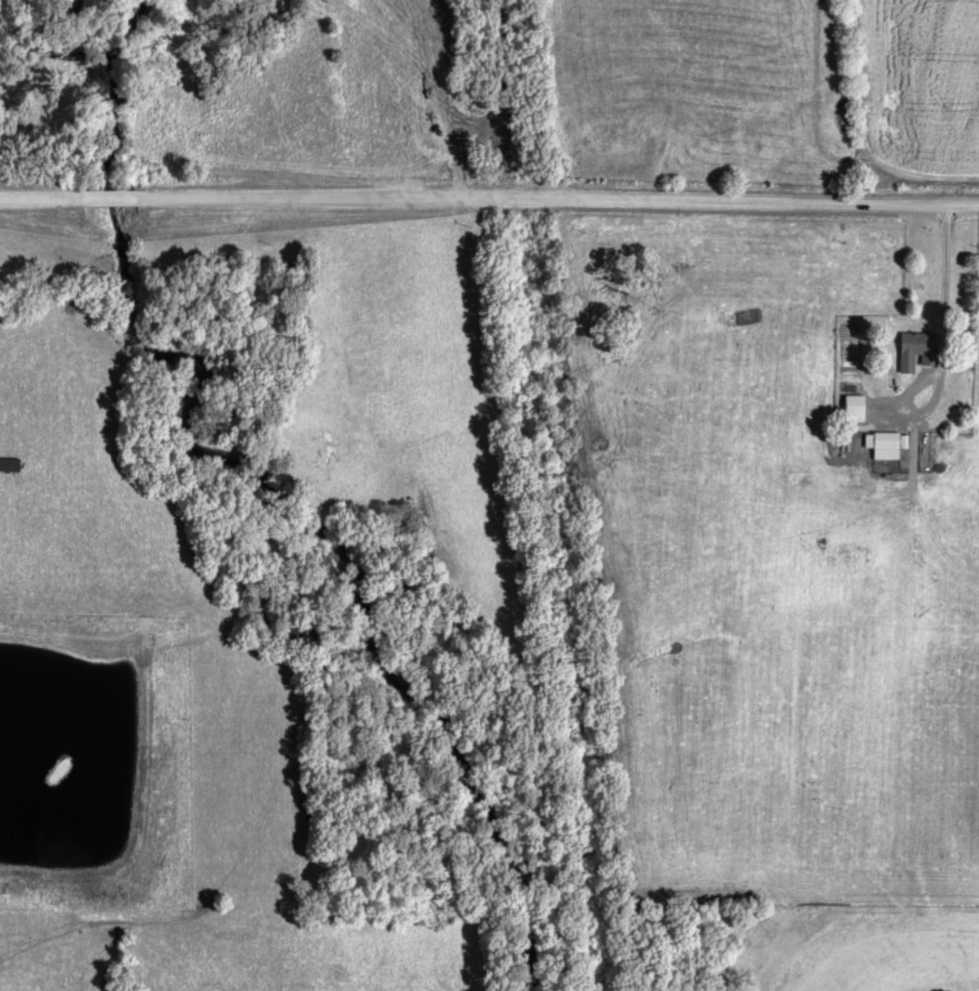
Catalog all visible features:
road: (489, 194)
building: (918, 352)
building: (855, 407)
building: (887, 446)
building: (11, 467)
park: (840, 949)

